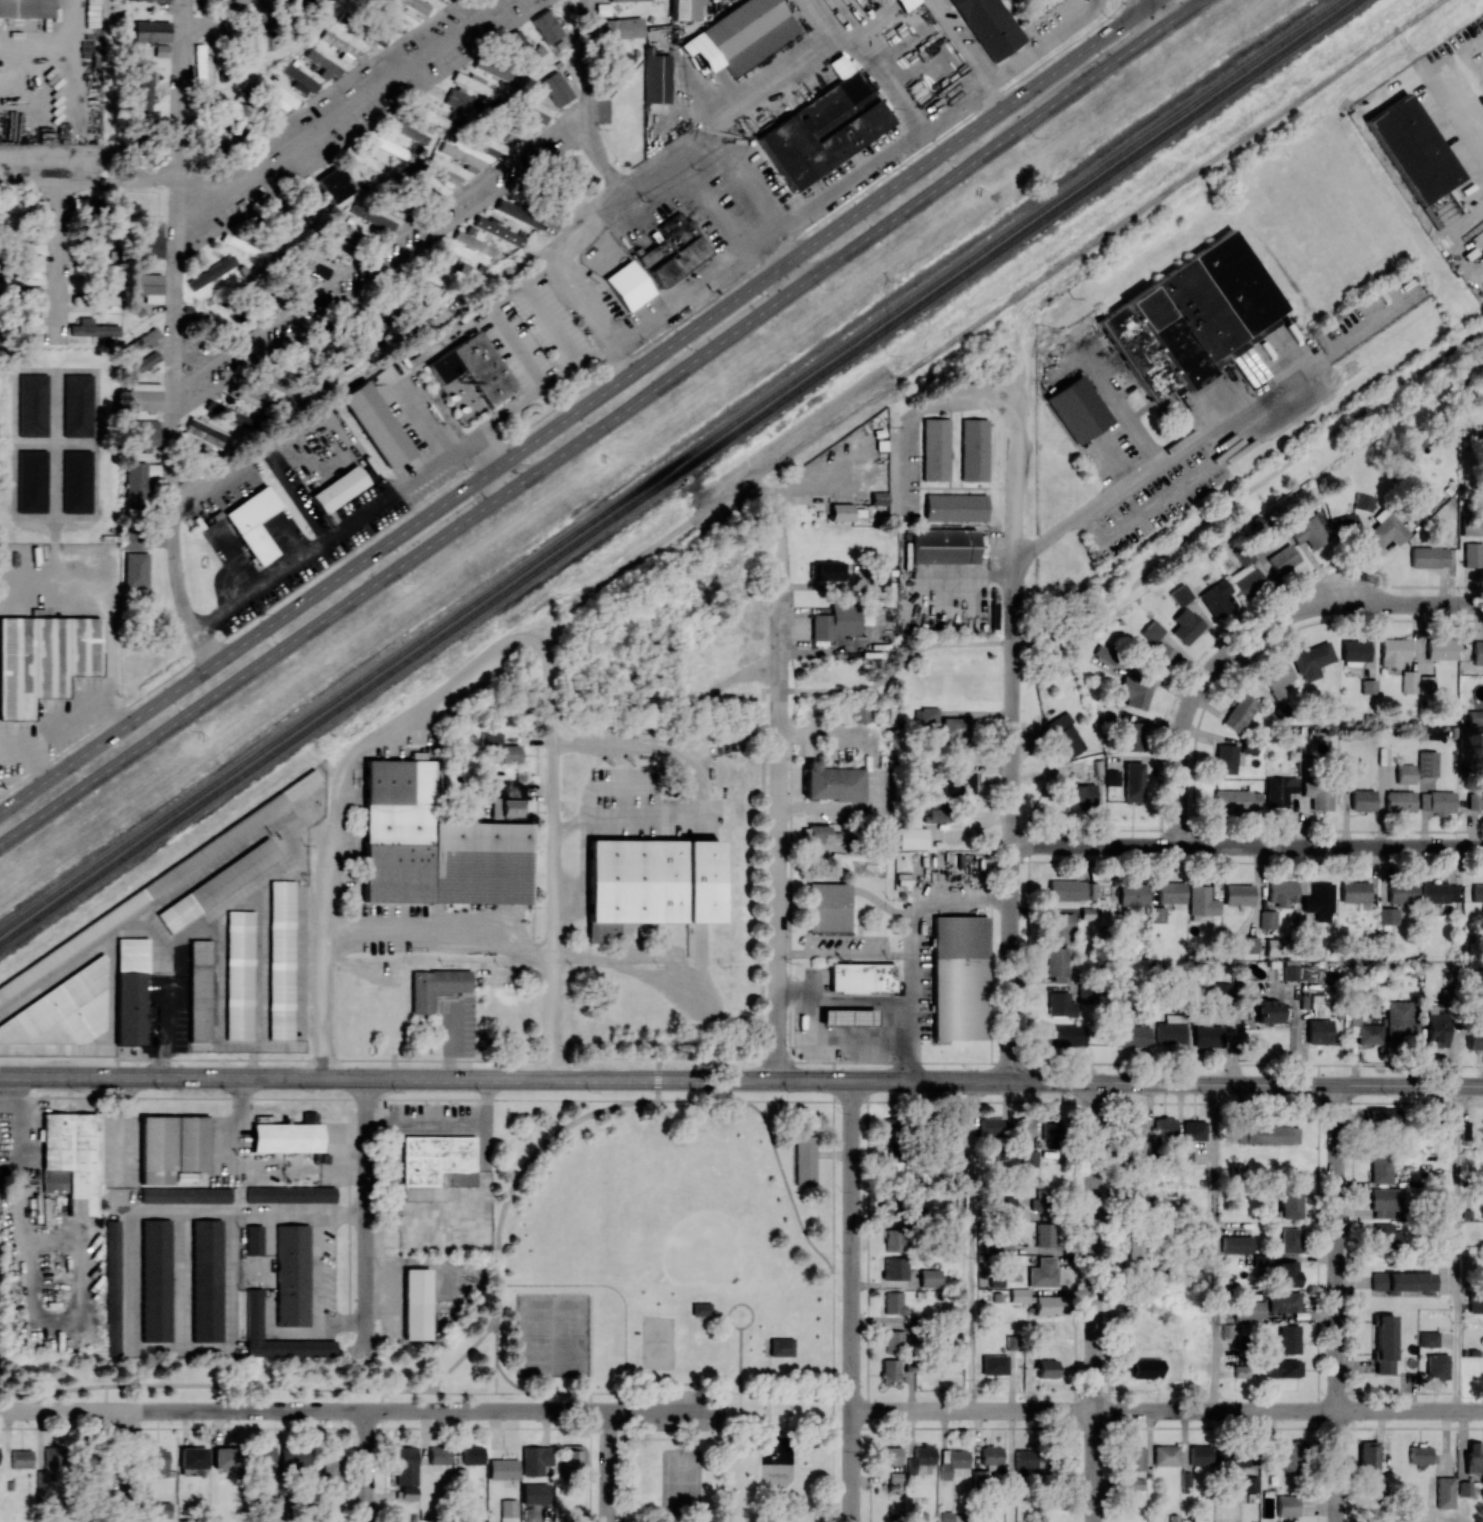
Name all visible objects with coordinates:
building: (204, 0)
building: (618, 0)
building: (287, 2)
building: (906, 3)
building: (25, 8)
building: (415, 8)
building: (684, 9)
road: (1154, 13)
road: (207, 16)
building: (546, 26)
building: (990, 26)
building: (620, 28)
building: (151, 30)
building: (268, 32)
building: (740, 35)
building: (375, 36)
road: (36, 47)
building: (342, 47)
building: (520, 50)
road: (963, 53)
building: (199, 63)
building: (622, 63)
building: (324, 64)
building: (492, 66)
building: (656, 76)
building: (299, 79)
building: (472, 82)
building: (145, 86)
building: (556, 88)
building: (274, 92)
building: (458, 100)
road: (587, 101)
road: (348, 104)
building: (528, 113)
road: (1461, 113)
building: (429, 114)
road: (954, 126)
building: (512, 130)
building: (822, 130)
building: (409, 131)
building: (214, 141)
building: (392, 147)
building: (493, 148)
building: (144, 149)
building: (1411, 149)
building: (363, 157)
building: (463, 157)
building: (441, 173)
building: (573, 177)
road: (647, 181)
road: (89, 183)
building: (335, 184)
building: (425, 191)
building: (80, 203)
building: (21, 204)
building: (126, 207)
building: (517, 211)
building: (373, 217)
building: (301, 218)
building: (497, 230)
building: (473, 232)
building: (26, 233)
building: (352, 234)
building: (149, 242)
building: (474, 243)
building: (241, 245)
building: (671, 250)
building: (337, 255)
road: (381, 258)
road: (57, 259)
building: (452, 261)
building: (30, 263)
building: (311, 267)
building: (211, 272)
building: (433, 277)
building: (627, 285)
building: (147, 286)
building: (33, 293)
building: (78, 299)
road: (489, 310)
road: (649, 318)
building: (1192, 318)
building: (218, 325)
building: (92, 328)
road: (174, 335)
building: (142, 341)
building: (330, 352)
building: (144, 363)
building: (473, 367)
road: (365, 373)
building: (276, 382)
building: (144, 396)
building: (252, 398)
building: (77, 404)
building: (32, 405)
road: (575, 405)
building: (1077, 408)
building: (230, 415)
road: (918, 415)
road: (600, 421)
building: (376, 424)
building: (205, 433)
building: (1480, 437)
building: (936, 449)
building: (973, 449)
road: (358, 451)
road: (497, 458)
railway: (670, 465)
railway: (679, 471)
road: (1129, 477)
building: (136, 480)
building: (32, 481)
building: (76, 481)
building: (338, 488)
road: (1247, 490)
building: (878, 497)
building: (1362, 501)
building: (955, 507)
building: (841, 511)
road: (389, 522)
building: (252, 523)
building: (1344, 525)
building: (1471, 526)
building: (1386, 528)
building: (1310, 531)
building: (131, 539)
building: (942, 545)
building: (1473, 554)
building: (1428, 556)
building: (1283, 558)
building: (136, 570)
building: (827, 570)
building: (1245, 573)
building: (878, 578)
building: (1180, 594)
building: (1216, 598)
building: (1185, 625)
building: (1152, 631)
road: (1253, 636)
road: (840, 649)
building: (1441, 649)
building: (1393, 651)
building: (1354, 652)
building: (1478, 652)
building: (1104, 654)
building: (1161, 658)
building: (43, 659)
building: (1312, 660)
building: (1277, 679)
building: (1409, 681)
building: (1427, 683)
building: (1368, 686)
building: (1135, 691)
building: (1239, 712)
building: (859, 714)
building: (928, 714)
building: (838, 715)
building: (1475, 717)
building: (956, 726)
building: (1065, 734)
building: (1130, 736)
road: (1012, 739)
road: (554, 742)
building: (499, 747)
building: (1225, 758)
building: (1427, 763)
building: (1076, 770)
building: (1405, 773)
building: (1112, 777)
building: (832, 782)
building: (958, 782)
building: (1133, 782)
building: (1277, 790)
road: (779, 792)
building: (1318, 794)
building: (1079, 795)
road: (762, 796)
building: (507, 798)
building: (1237, 800)
building: (1362, 800)
building: (1475, 800)
building: (1399, 801)
building: (1436, 802)
building: (819, 834)
building: (911, 834)
building: (434, 844)
road: (1247, 846)
building: (650, 883)
building: (218, 884)
building: (1066, 890)
building: (1170, 892)
building: (1282, 892)
building: (1402, 892)
building: (1439, 892)
building: (1477, 892)
building: (1355, 893)
building: (1132, 894)
building: (1238, 894)
building: (1201, 901)
building: (1319, 901)
road: (937, 904)
building: (828, 907)
road: (551, 909)
building: (1157, 913)
building: (1388, 915)
building: (1267, 919)
building: (1061, 926)
road: (327, 929)
building: (1248, 944)
building: (1274, 946)
road: (843, 953)
building: (281, 960)
building: (1056, 961)
building: (1291, 970)
building: (239, 974)
building: (862, 977)
building: (959, 977)
building: (434, 986)
building: (130, 990)
building: (199, 990)
road: (843, 997)
building: (1059, 1004)
building: (1267, 1010)
building: (61, 1011)
road: (909, 1016)
building: (847, 1017)
building: (1400, 1020)
building: (1434, 1027)
building: (1318, 1030)
building: (1170, 1032)
building: (1065, 1034)
building: (1369, 1034)
building: (1132, 1035)
building: (1208, 1035)
building: (1474, 1039)
road: (741, 1077)
road: (319, 1097)
road: (753, 1099)
building: (1382, 1117)
building: (952, 1126)
building: (990, 1126)
building: (1164, 1126)
building: (1022, 1127)
building: (1194, 1130)
building: (1050, 1131)
building: (1266, 1134)
building: (288, 1135)
building: (1135, 1138)
building: (171, 1146)
building: (1184, 1153)
building: (1029, 1158)
building: (71, 1159)
building: (806, 1159)
building: (437, 1164)
building: (1380, 1168)
road: (785, 1184)
building: (185, 1194)
building: (290, 1194)
building: (1136, 1198)
building: (888, 1200)
building: (1040, 1201)
building: (1385, 1202)
building: (1289, 1204)
building: (999, 1206)
road: (365, 1216)
building: (1044, 1235)
building: (1386, 1237)
building: (253, 1239)
building: (893, 1240)
building: (1290, 1240)
building: (1236, 1243)
building: (996, 1245)
road: (973, 1246)
road: (1215, 1247)
road: (1456, 1248)
building: (1136, 1250)
building: (894, 1268)
building: (1042, 1272)
building: (1286, 1273)
building: (292, 1274)
building: (929, 1277)
building: (155, 1280)
building: (206, 1280)
building: (1401, 1280)
building: (112, 1287)
park: (678, 1288)
building: (1020, 1295)
road: (833, 1300)
road: (851, 1300)
building: (1283, 1301)
building: (1475, 1301)
building: (893, 1302)
road: (1095, 1302)
building: (416, 1303)
road: (1335, 1303)
building: (1048, 1305)
building: (701, 1307)
building: (1248, 1309)
building: (253, 1313)
road: (720, 1314)
road: (749, 1322)
park: (553, 1334)
park: (553, 1334)
building: (1428, 1338)
building: (1288, 1339)
park: (657, 1340)
building: (894, 1341)
building: (1383, 1343)
road: (625, 1344)
building: (782, 1346)
road: (496, 1356)
road: (740, 1362)
building: (994, 1364)
building: (1436, 1367)
building: (1045, 1368)
building: (1145, 1368)
building: (1283, 1368)
building: (890, 1369)
building: (1241, 1370)
road: (495, 1375)
road: (429, 1383)
road: (737, 1391)
road: (521, 1392)
road: (138, 1396)
road: (106, 1397)
road: (347, 1398)
road: (381, 1399)
road: (589, 1401)
road: (303, 1409)
road: (667, 1409)
parking lot: (677, 1409)
road: (786, 1410)
road: (1167, 1411)
road: (749, 1417)
road: (736, 1428)
road: (740, 1446)
building: (438, 1454)
building: (260, 1455)
building: (472, 1455)
building: (889, 1455)
building: (991, 1455)
building: (1165, 1455)
building: (1289, 1455)
building: (1420, 1455)
building: (294, 1456)
building: (572, 1456)
building: (1199, 1456)
building: (1367, 1456)
building: (192, 1457)
building: (224, 1457)
building: (920, 1457)
building: (21, 1458)
building: (87, 1458)
building: (1134, 1458)
building: (1232, 1458)
building: (1473, 1458)
building: (536, 1460)
building: (1025, 1461)
building: (157, 1462)
building: (953, 1463)
building: (332, 1464)
road: (123, 1465)
road: (365, 1465)
road: (607, 1466)
building: (49, 1468)
building: (502, 1468)
building: (406, 1471)
building: (1185, 1479)
park: (681, 1480)
building: (1136, 1483)
building: (1248, 1483)
road: (745, 1484)
building: (1464, 1488)
building: (1444, 1492)
building: (535, 1493)
building: (1287, 1505)
building: (163, 1509)
building: (508, 1510)
building: (945, 1516)

